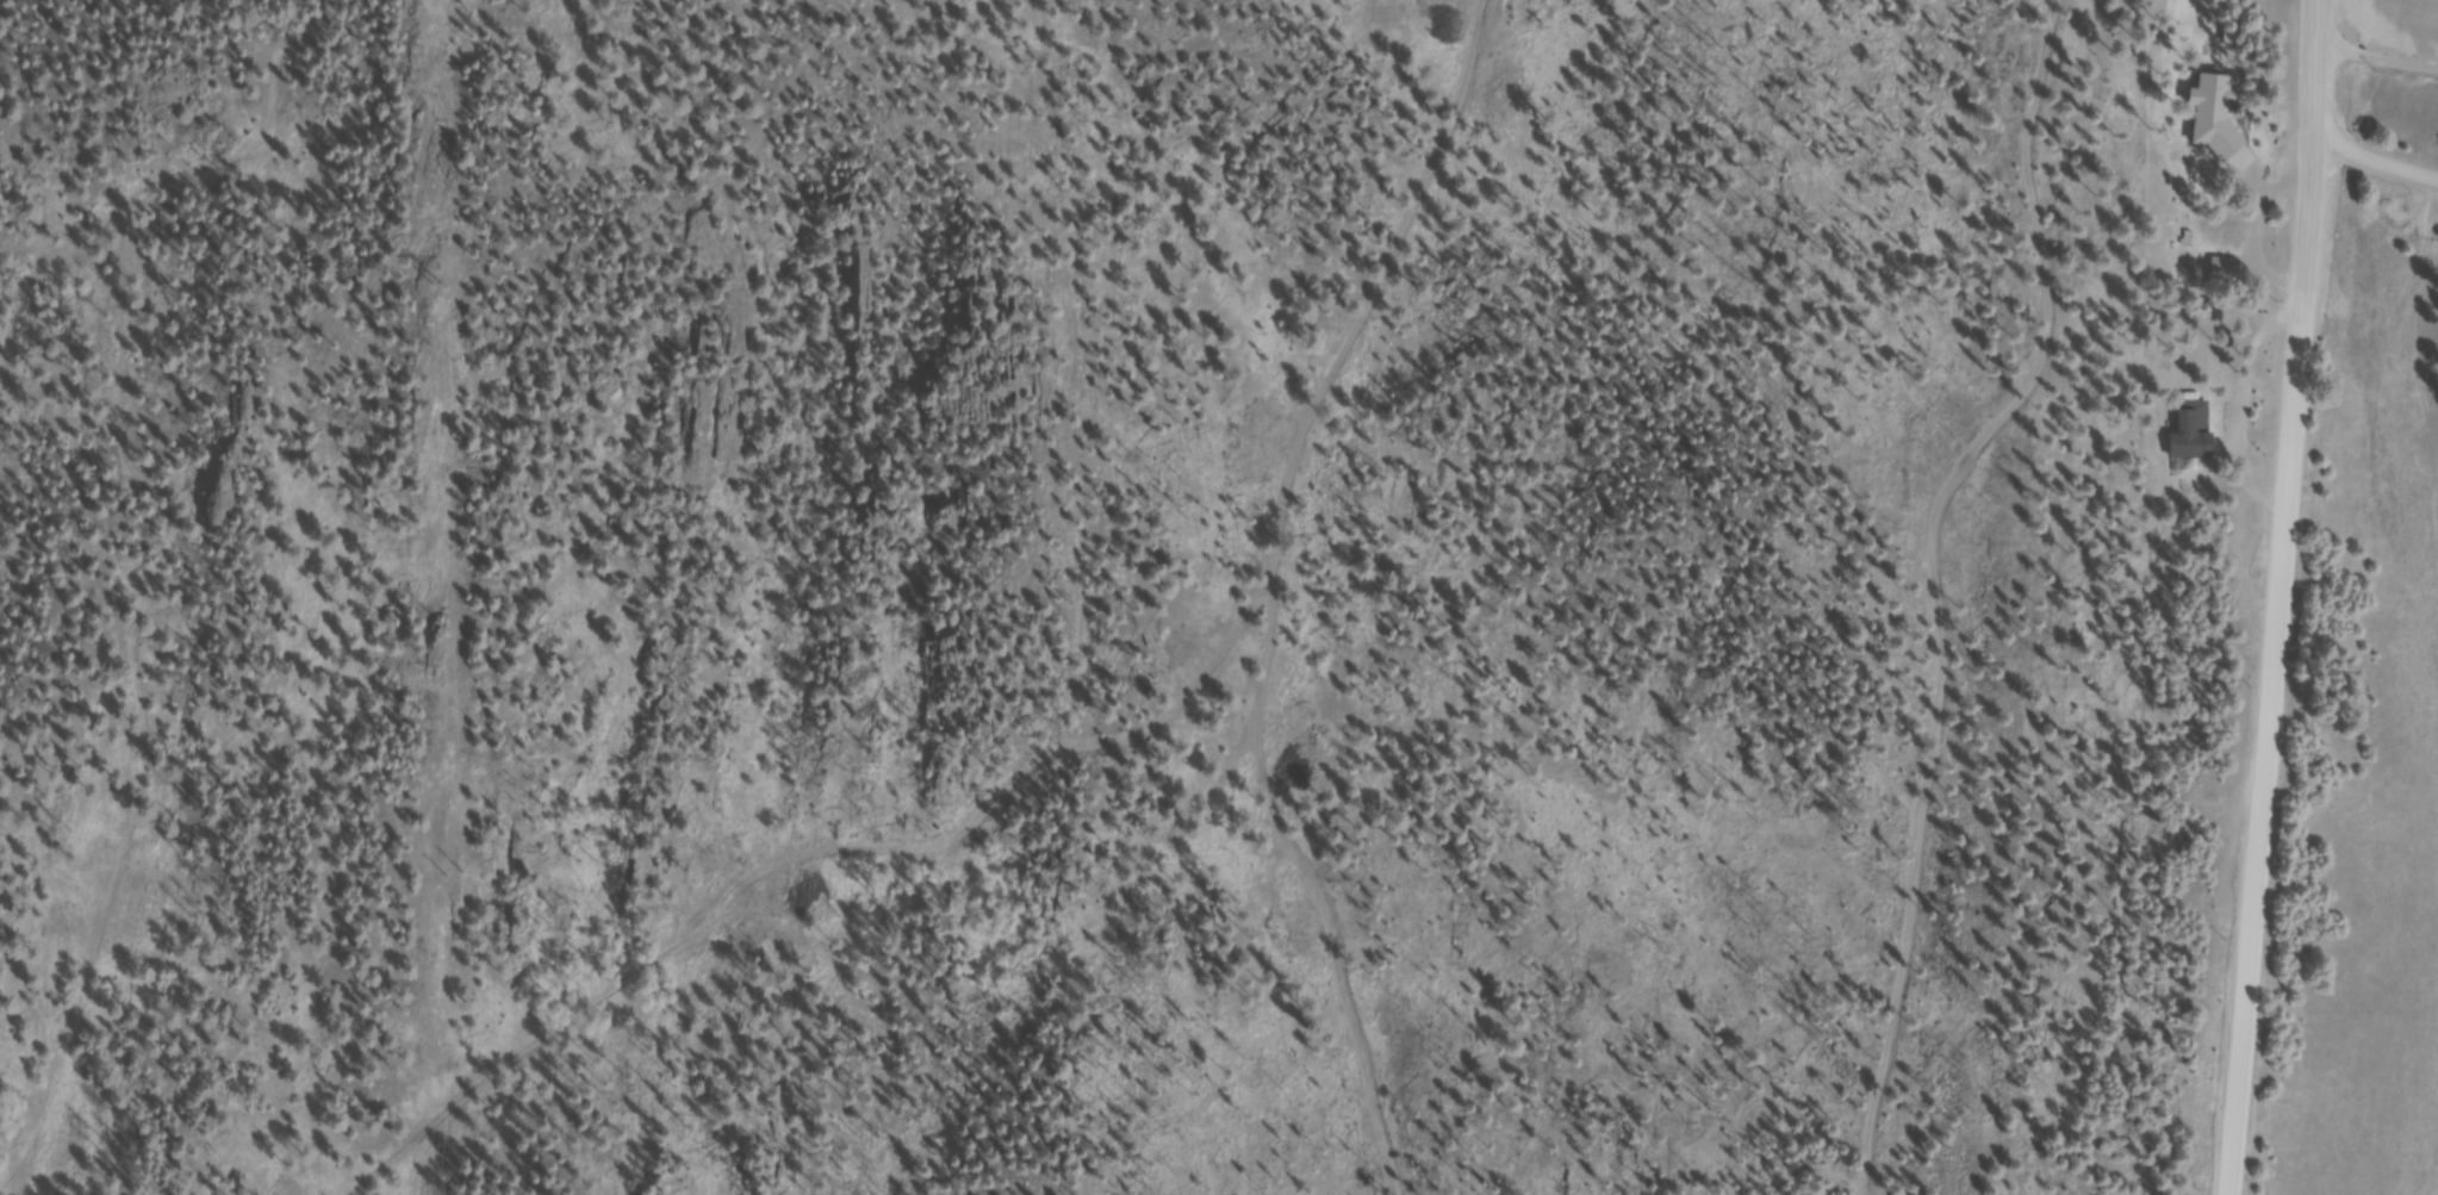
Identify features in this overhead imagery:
road: (2320, 97)
building: (2214, 156)
road: (2378, 156)
building: (2227, 276)
building: (2200, 436)
road: (2268, 695)

